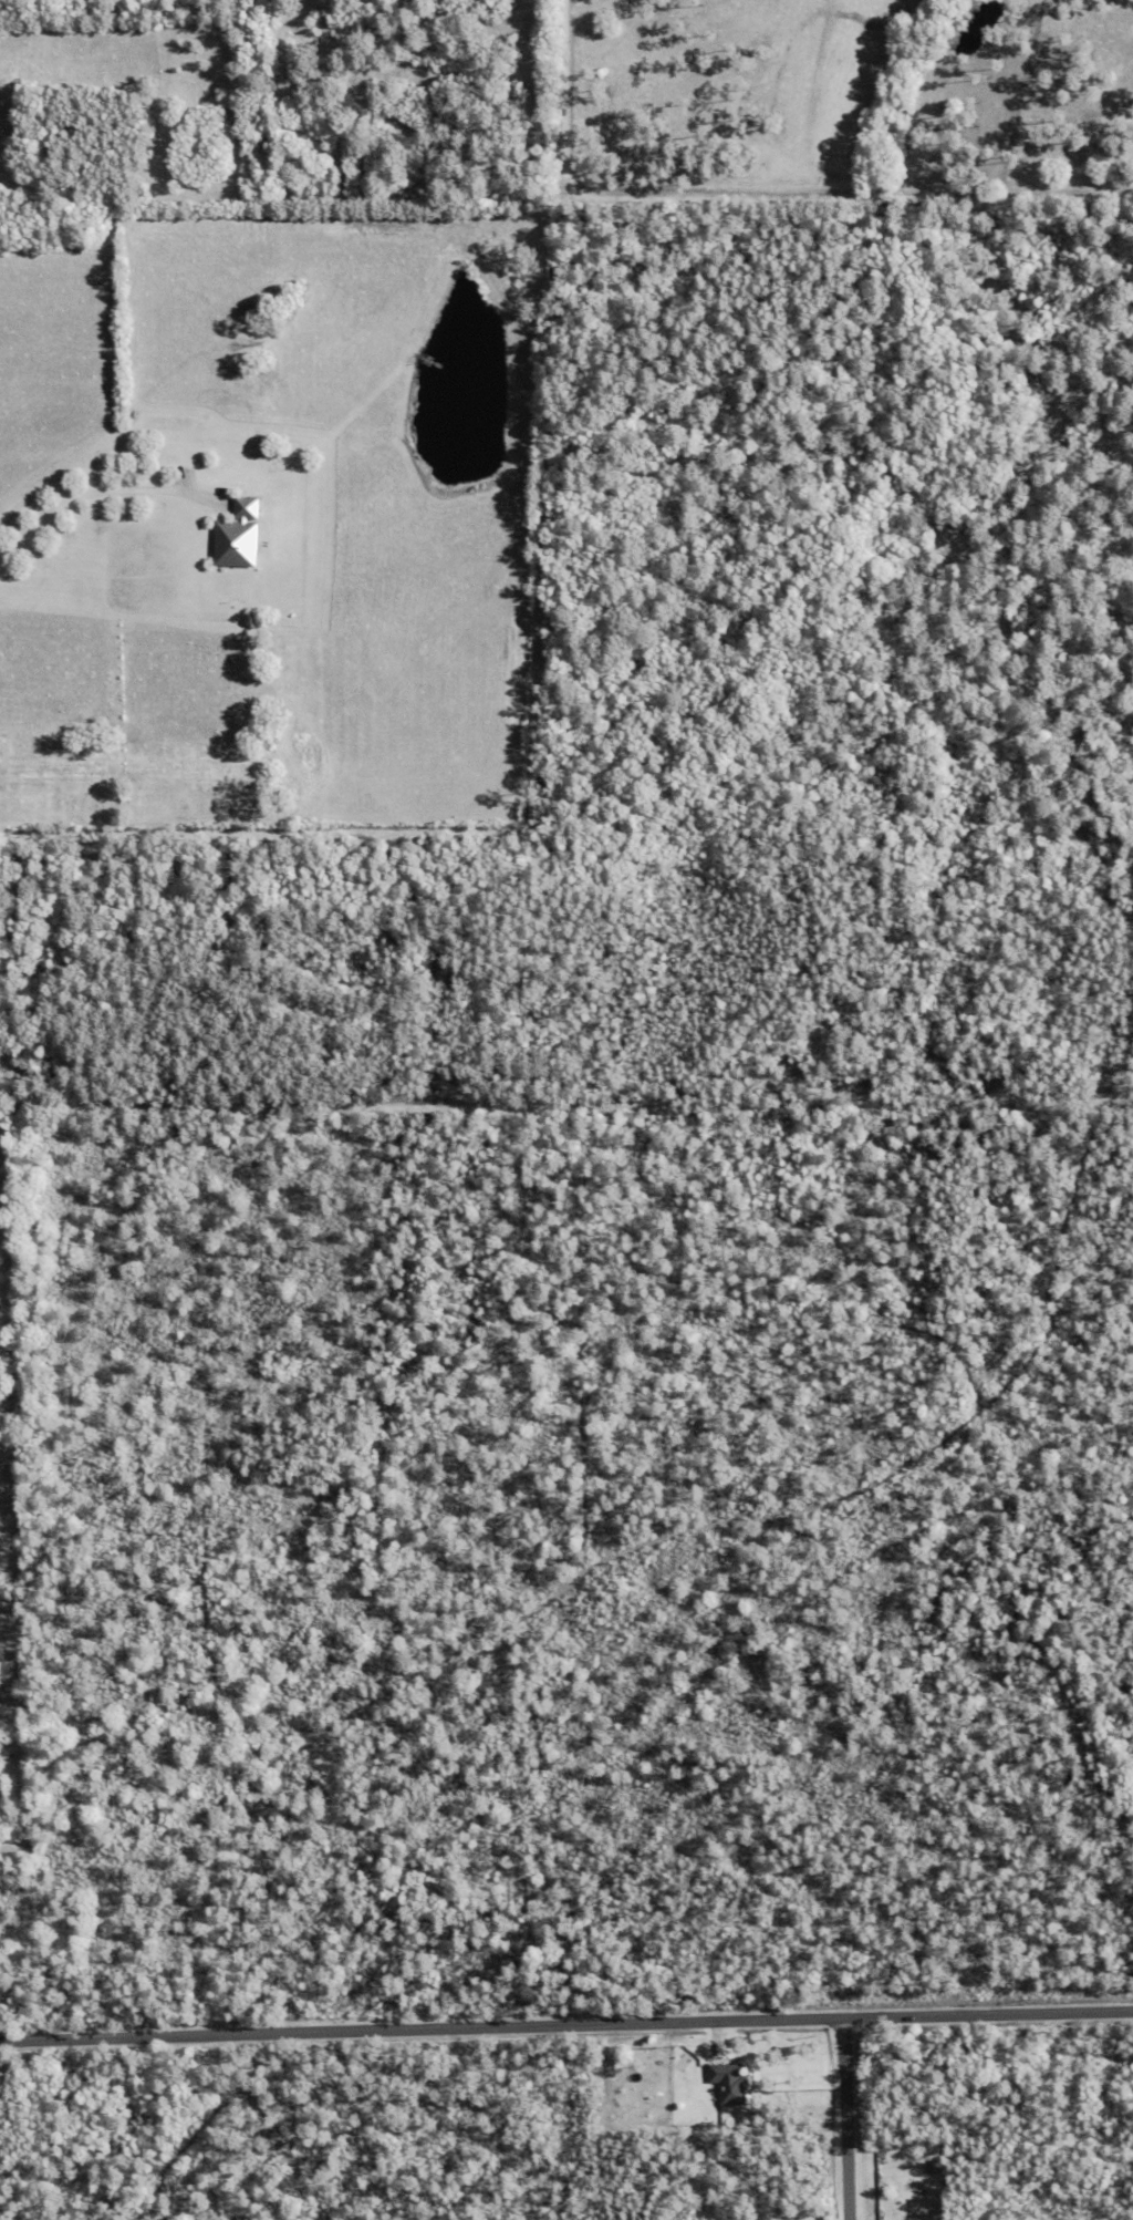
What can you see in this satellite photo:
road: (96, 498)
building: (238, 537)
road: (558, 1457)
road: (565, 2024)
building: (730, 2083)
road: (850, 2118)

